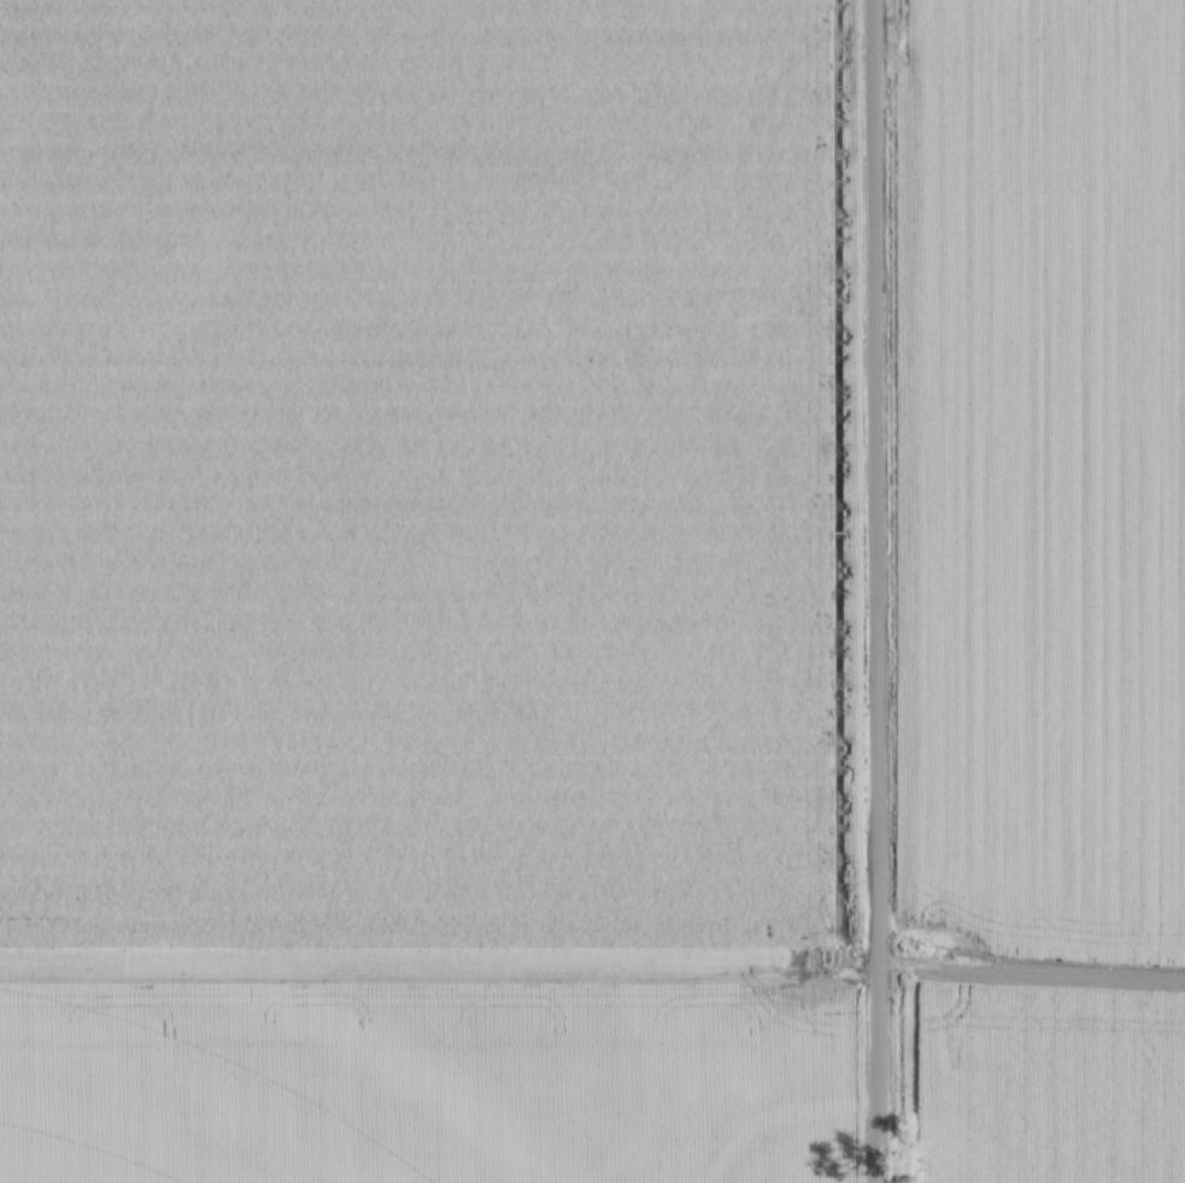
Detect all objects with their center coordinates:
crop: (1046, 590)
crop: (421, 591)
road: (875, 591)

